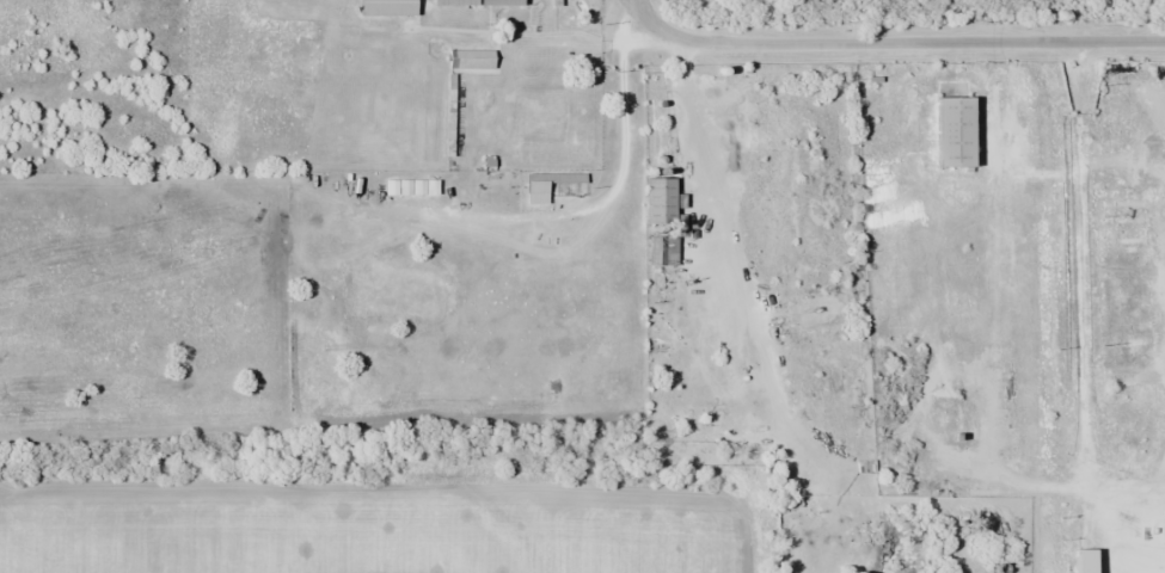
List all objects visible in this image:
building: (453, 2)
building: (499, 2)
building: (385, 7)
road: (634, 8)
road: (650, 24)
road: (919, 39)
building: (470, 58)
building: (951, 131)
building: (416, 186)
building: (535, 192)
building: (657, 202)
building: (668, 249)

